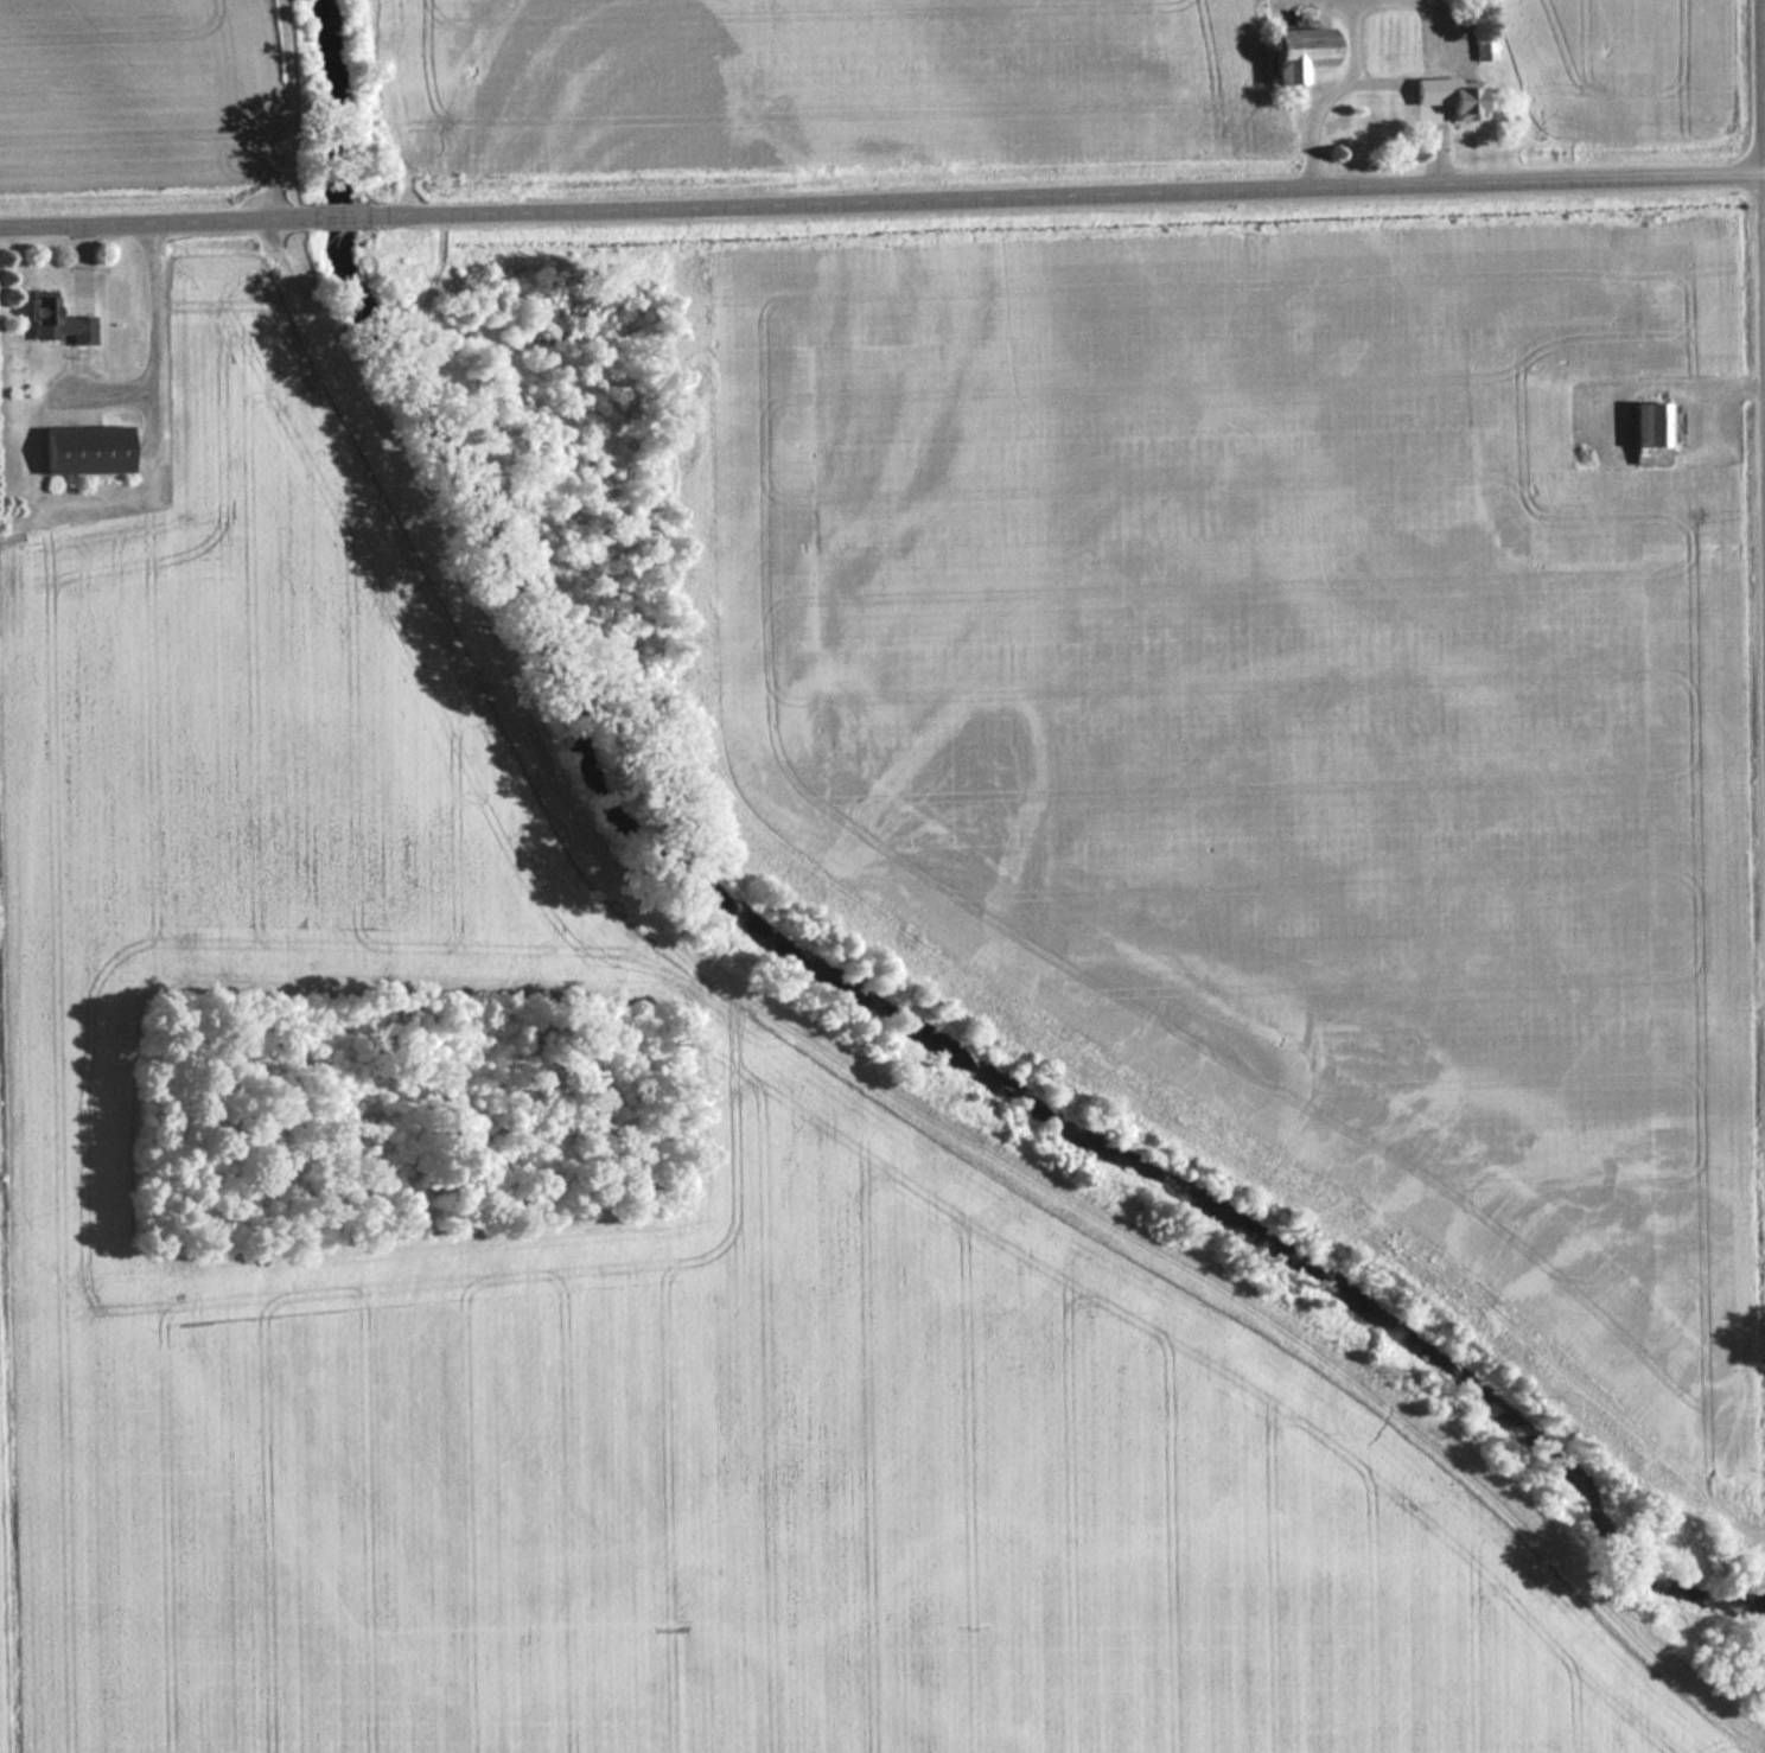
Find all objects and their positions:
building: (1485, 51)
building: (1302, 55)
building: (1467, 103)
road: (1073, 196)
road: (337, 211)
road: (146, 217)
building: (58, 323)
building: (1652, 425)
building: (85, 450)
river: (823, 969)

